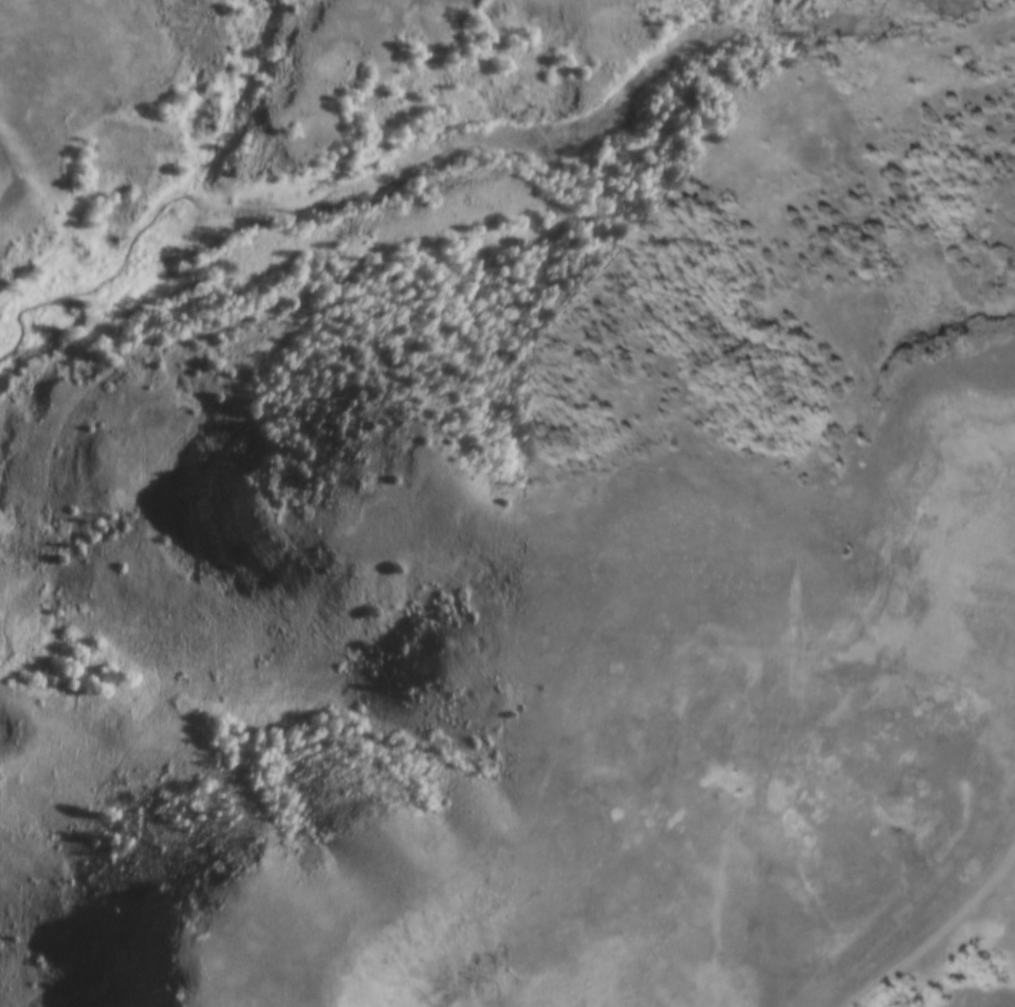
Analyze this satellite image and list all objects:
road: (193, 42)

